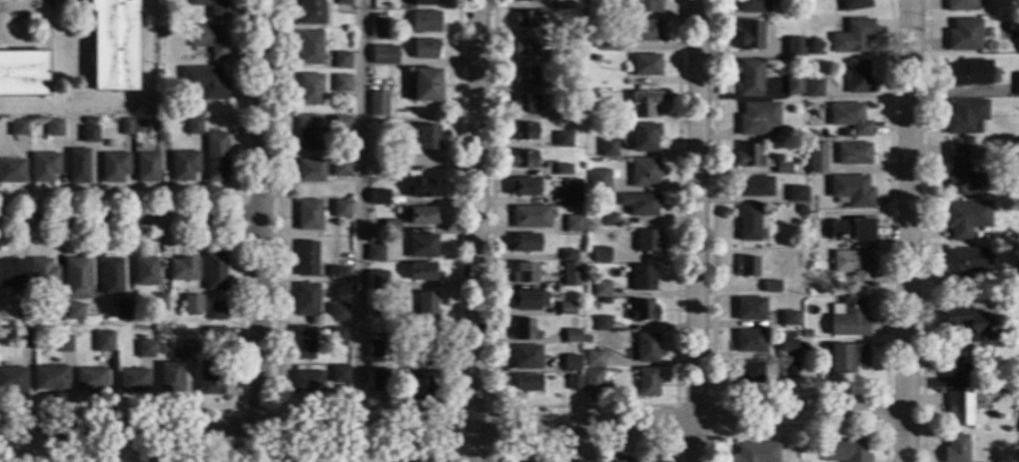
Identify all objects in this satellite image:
building: (378, 0)
building: (525, 0)
building: (342, 2)
building: (424, 2)
building: (562, 4)
building: (854, 4)
building: (641, 6)
building: (753, 6)
building: (960, 6)
building: (211, 7)
building: (311, 12)
building: (524, 19)
building: (424, 22)
building: (568, 29)
building: (378, 30)
building: (646, 30)
building: (750, 35)
building: (964, 35)
building: (852, 37)
building: (210, 40)
building: (605, 41)
building: (1018, 44)
building: (113, 45)
building: (524, 47)
building: (795, 47)
building: (309, 48)
building: (425, 49)
building: (384, 55)
building: (554, 57)
building: (594, 59)
building: (341, 60)
building: (645, 65)
building: (22, 72)
building: (968, 73)
building: (523, 75)
building: (857, 77)
building: (750, 78)
building: (204, 82)
building: (1016, 84)
building: (341, 85)
building: (425, 85)
building: (566, 85)
building: (793, 85)
building: (813, 88)
building: (309, 89)
building: (590, 92)
building: (524, 103)
building: (642, 103)
building: (377, 104)
building: (807, 105)
building: (562, 114)
building: (965, 116)
building: (849, 118)
building: (758, 119)
building: (85, 121)
building: (336, 125)
building: (193, 126)
building: (54, 127)
building: (126, 127)
building: (19, 128)
building: (522, 131)
building: (161, 133)
building: (308, 133)
building: (89, 134)
building: (809, 134)
building: (794, 135)
building: (426, 137)
building: (643, 137)
building: (562, 139)
building: (607, 148)
building: (852, 153)
building: (748, 156)
building: (215, 157)
building: (816, 158)
building: (522, 159)
building: (398, 163)
building: (183, 165)
building: (78, 166)
building: (44, 167)
building: (114, 167)
building: (146, 167)
building: (339, 168)
building: (782, 168)
building: (562, 169)
building: (309, 170)
building: (377, 170)
building: (12, 171)
building: (643, 172)
building: (961, 174)
building: (600, 185)
building: (524, 187)
building: (754, 187)
building: (423, 188)
building: (570, 191)
building: (850, 191)
building: (795, 194)
building: (1003, 195)
building: (379, 197)
road: (220, 201)
building: (638, 204)
building: (1017, 206)
building: (340, 209)
road: (473, 212)
road: (258, 213)
road: (357, 213)
building: (308, 215)
building: (421, 216)
building: (529, 217)
building: (964, 218)
road: (128, 219)
road: (240, 219)
building: (606, 220)
building: (747, 223)
building: (572, 224)
building: (390, 227)
building: (850, 230)
road: (906, 230)
road: (923, 230)
road: (696, 231)
building: (646, 241)
building: (522, 243)
building: (421, 246)
building: (374, 253)
building: (600, 254)
building: (568, 255)
building: (305, 258)
building: (964, 264)
building: (813, 265)
building: (853, 265)
building: (747, 266)
building: (182, 269)
building: (1016, 270)
building: (144, 271)
building: (213, 271)
building: (338, 272)
building: (422, 272)
building: (11, 273)
building: (523, 273)
building: (42, 274)
building: (570, 274)
building: (111, 276)
building: (76, 278)
building: (642, 278)
building: (376, 280)
building: (770, 287)
building: (600, 289)
building: (585, 294)
building: (305, 300)
building: (524, 300)
building: (159, 302)
building: (194, 302)
building: (426, 307)
building: (19, 309)
building: (564, 309)
building: (749, 309)
building: (123, 310)
building: (216, 311)
building: (642, 311)
building: (73, 312)
building: (338, 312)
building: (53, 313)
building: (787, 318)
building: (847, 318)
building: (968, 321)
building: (600, 324)
building: (397, 325)
building: (523, 330)
building: (788, 334)
building: (804, 334)
building: (571, 336)
building: (214, 337)
building: (336, 337)
building: (585, 339)
building: (24, 340)
building: (748, 341)
building: (103, 342)
building: (302, 342)
building: (64, 344)
building: (422, 344)
building: (802, 347)
building: (645, 348)
building: (145, 349)
building: (187, 349)
building: (374, 349)
building: (787, 349)
building: (525, 357)
building: (845, 357)
building: (593, 359)
building: (570, 363)
building: (788, 370)
building: (748, 372)
building: (339, 374)
building: (170, 377)
building: (210, 377)
building: (51, 378)
building: (13, 380)
building: (91, 380)
building: (377, 380)
building: (133, 381)
building: (306, 382)
building: (572, 382)
building: (589, 382)
building: (645, 382)
building: (524, 384)
building: (420, 387)
road: (796, 391)
building: (1005, 391)
road: (579, 407)
building: (959, 407)
road: (885, 408)
road: (361, 409)
road: (710, 409)
road: (452, 410)
road: (797, 410)
building: (1018, 420)
road: (675, 423)
road: (799, 426)
road: (347, 427)
road: (236, 428)
road: (591, 442)
road: (469, 443)
road: (343, 444)
road: (216, 445)
road: (11, 447)
building: (954, 449)
building: (843, 451)
building: (754, 452)
building: (622, 460)
building: (419, 461)
building: (511, 461)
building: (583, 461)
building: (623, 461)

